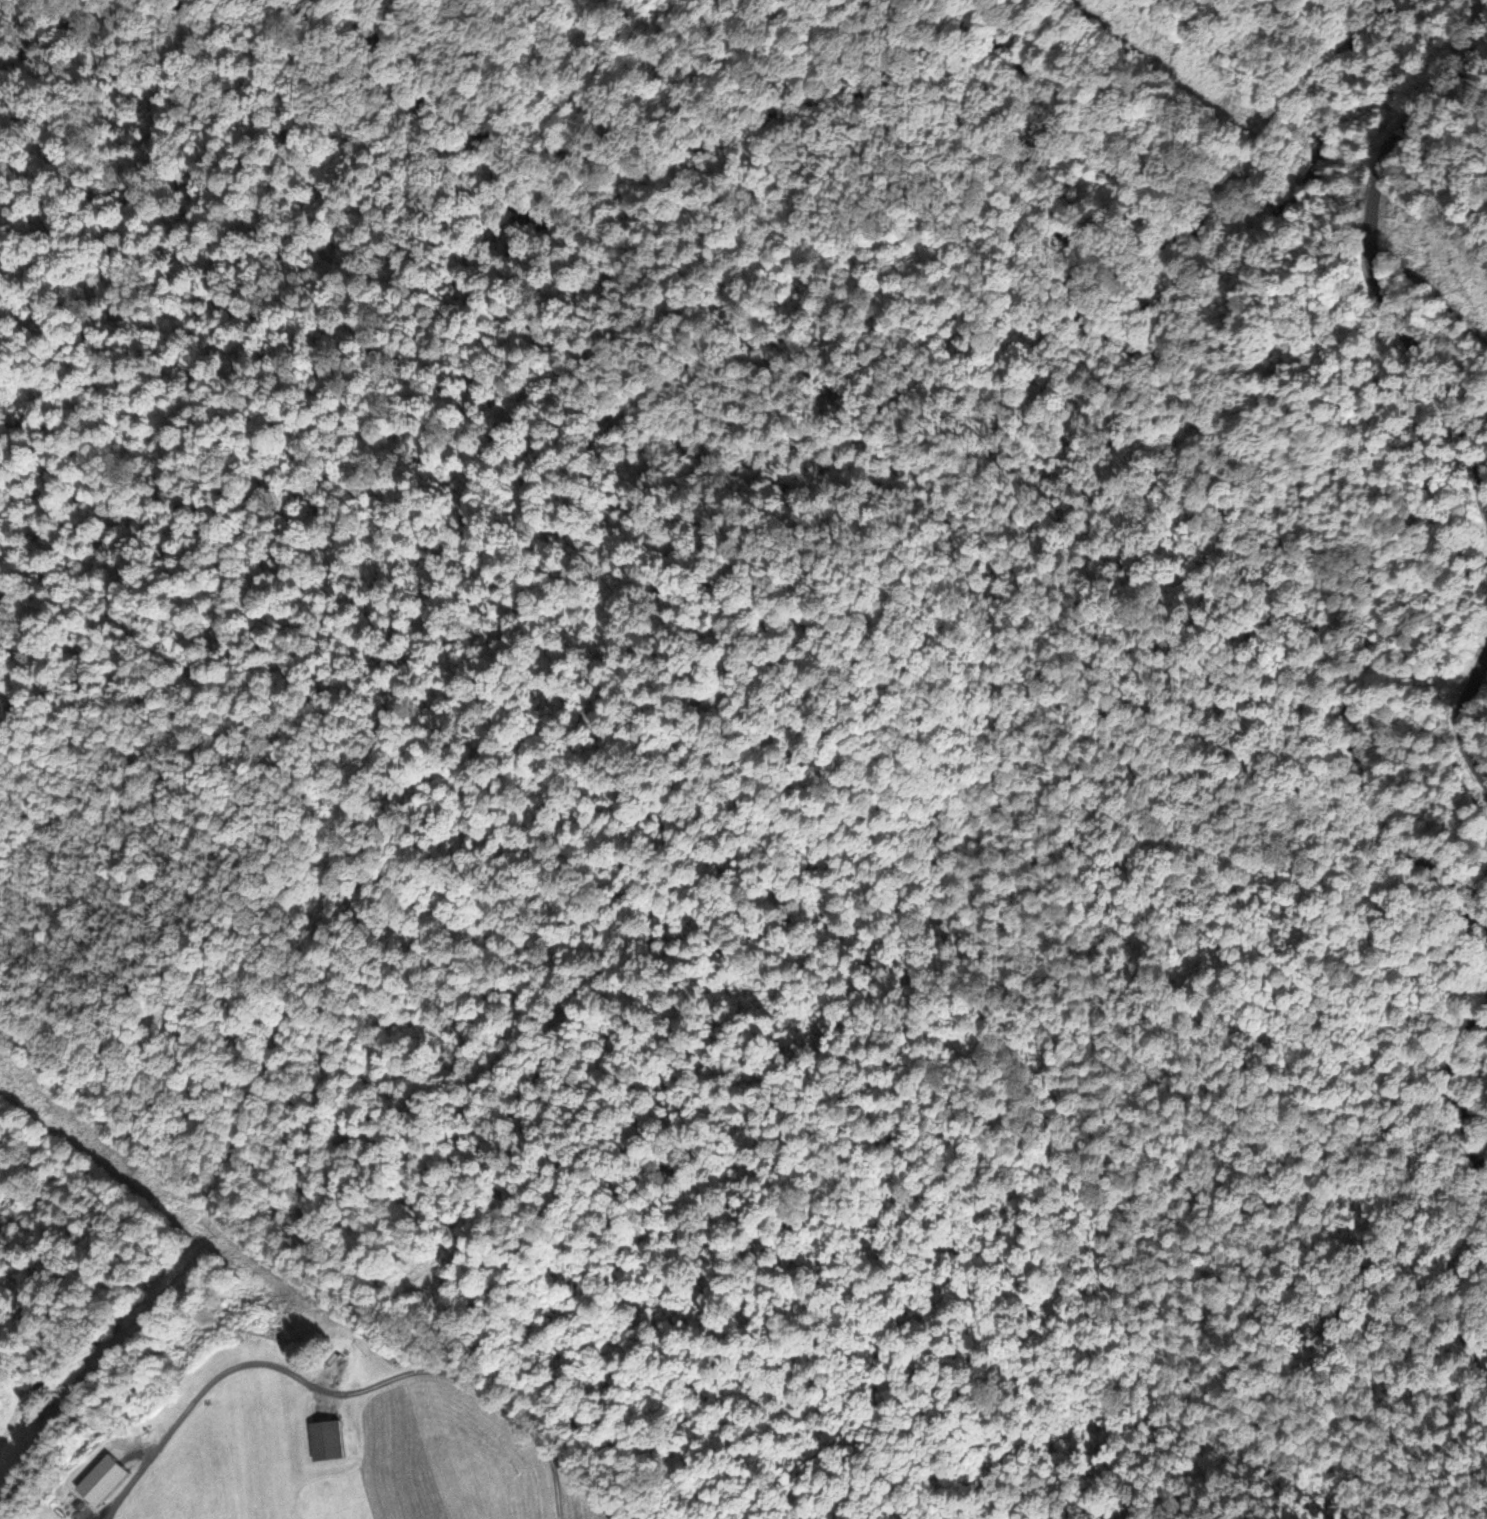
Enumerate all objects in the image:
road: (1371, 250)
road: (1463, 718)
road: (334, 1394)
airport runway: (262, 1456)
building: (99, 1475)

